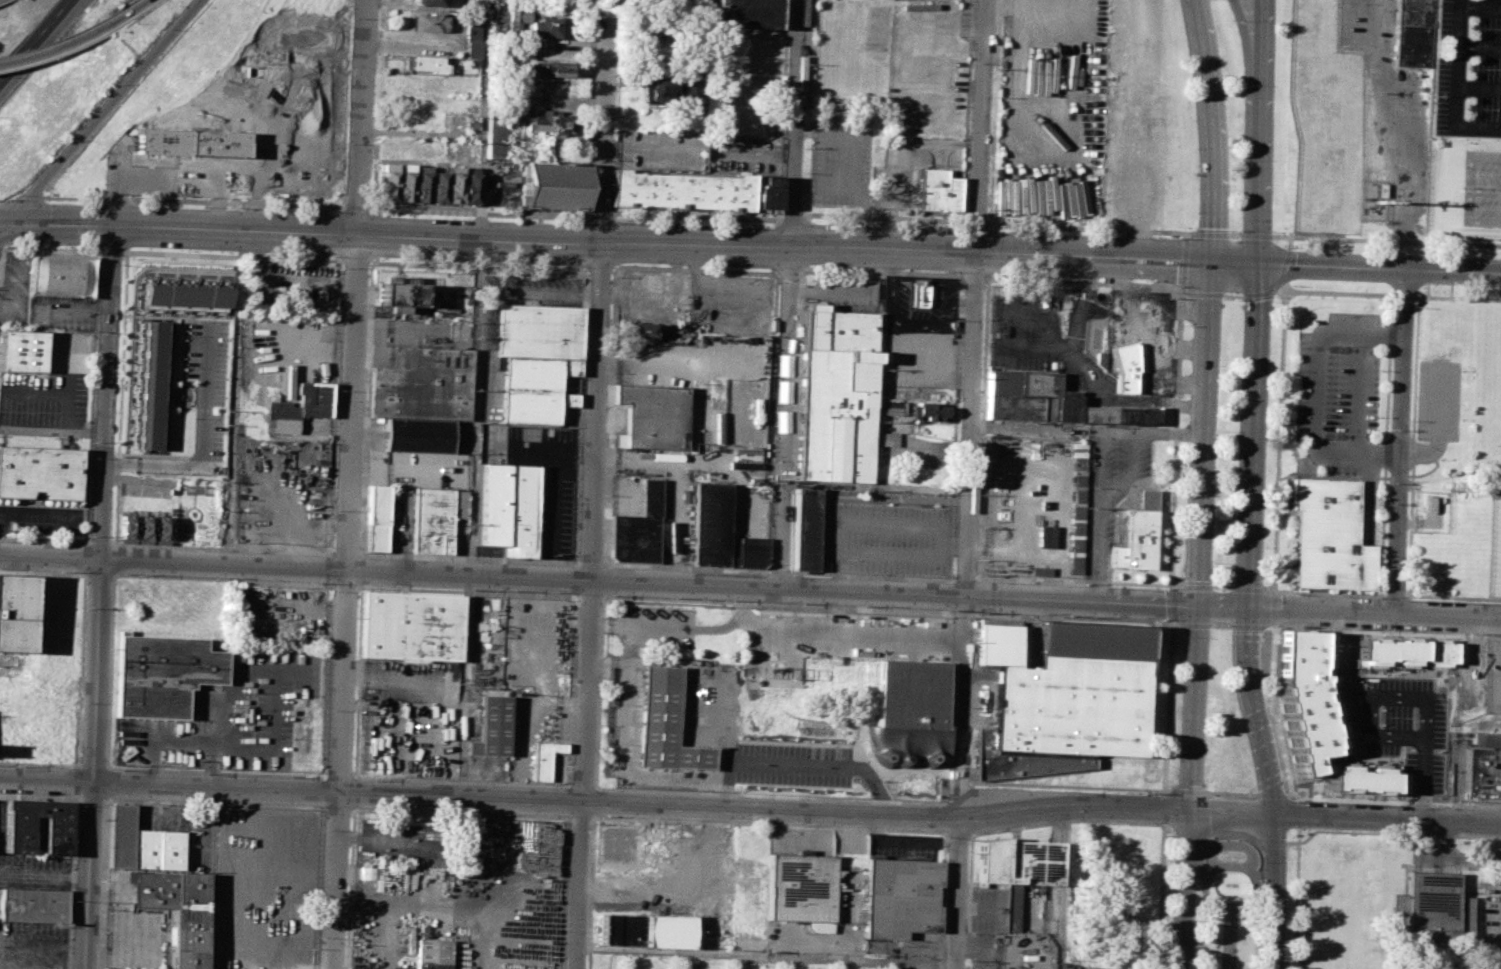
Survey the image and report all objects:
building: (430, 2)
building: (748, 13)
road: (124, 14)
building: (514, 20)
building: (431, 23)
road: (1458, 23)
building: (476, 28)
building: (550, 28)
building: (1412, 32)
road: (1246, 39)
road: (1256, 39)
road: (34, 40)
road: (1479, 48)
road: (51, 49)
building: (475, 50)
building: (428, 64)
building: (547, 68)
parking lot: (1468, 68)
building: (662, 91)
road: (1455, 108)
road: (782, 109)
park: (1232, 109)
road: (967, 110)
road: (994, 110)
road: (100, 111)
road: (349, 111)
road: (361, 117)
building: (476, 122)
building: (549, 123)
road: (796, 126)
road: (612, 127)
road: (1209, 130)
road: (1401, 133)
road: (591, 136)
building: (497, 139)
building: (162, 142)
parking lot: (696, 151)
road: (700, 151)
road: (853, 159)
parking lot: (841, 160)
parking lot: (170, 167)
road: (168, 175)
building: (388, 182)
building: (405, 182)
building: (422, 183)
building: (439, 184)
building: (455, 184)
building: (471, 184)
building: (553, 185)
park: (1481, 188)
building: (937, 190)
building: (681, 191)
building: (766, 194)
road: (18, 200)
road: (3, 201)
road: (649, 214)
road: (57, 226)
road: (1184, 236)
road: (1289, 240)
road: (1379, 240)
road: (452, 241)
road: (1, 247)
road: (108, 251)
road: (231, 257)
road: (1025, 258)
road: (356, 262)
road: (1181, 263)
road: (478, 265)
road: (600, 268)
road: (696, 269)
road: (789, 270)
road: (1379, 270)
road: (879, 271)
building: (59, 275)
road: (975, 276)
road: (1085, 282)
road: (1277, 284)
road: (1181, 293)
road: (1337, 293)
building: (182, 294)
road: (1202, 294)
building: (920, 295)
road: (1233, 295)
road: (1406, 295)
building: (402, 297)
road: (1458, 298)
building: (1105, 328)
building: (641, 330)
road: (1076, 331)
building: (542, 332)
building: (1156, 335)
gas station: (1156, 335)
building: (22, 350)
parking lot: (1050, 351)
road: (121, 354)
road: (340, 370)
building: (1123, 370)
building: (147, 385)
building: (425, 385)
building: (536, 390)
road: (1320, 390)
road: (1360, 392)
road: (107, 393)
road: (94, 394)
building: (839, 396)
road: (476, 399)
road: (1439, 399)
building: (1052, 402)
parking lot: (43, 406)
building: (303, 408)
building: (892, 408)
road: (368, 409)
building: (931, 412)
road: (582, 416)
road: (611, 416)
building: (657, 416)
road: (785, 419)
road: (955, 428)
road: (983, 429)
road: (1087, 430)
building: (421, 436)
road: (1174, 438)
road: (1278, 438)
building: (889, 439)
park: (1227, 441)
road: (1385, 441)
road: (1401, 442)
road: (205, 443)
road: (541, 446)
road: (1422, 451)
building: (667, 457)
road: (117, 469)
building: (41, 473)
road: (1130, 474)
parking lot: (542, 480)
road: (133, 482)
road: (968, 484)
road: (1450, 487)
parking lot: (280, 491)
parking lot: (1110, 491)
road: (554, 499)
road: (594, 503)
building: (506, 508)
road: (51, 515)
road: (1097, 516)
building: (378, 519)
parking lot: (41, 521)
building: (434, 522)
building: (929, 525)
road: (1250, 525)
building: (128, 529)
building: (145, 530)
building: (162, 530)
building: (639, 530)
building: (807, 530)
building: (722, 533)
building: (1138, 534)
building: (1332, 537)
road: (101, 543)
road: (195, 548)
road: (350, 554)
road: (50, 557)
road: (87, 558)
road: (113, 559)
road: (470, 560)
road: (590, 564)
road: (606, 565)
road: (576, 566)
road: (362, 568)
road: (685, 568)
road: (777, 572)
road: (99, 575)
road: (870, 576)
road: (224, 579)
road: (605, 579)
road: (963, 579)
road: (576, 580)
road: (1075, 581)
road: (649, 582)
road: (1193, 585)
road: (347, 586)
road: (1221, 586)
road: (1250, 588)
road: (467, 592)
road: (1326, 592)
road: (589, 595)
road: (949, 595)
road: (1393, 595)
road: (1451, 596)
road: (975, 597)
road: (347, 602)
road: (777, 603)
road: (1171, 603)
road: (1222, 606)
road: (1272, 608)
road: (963, 611)
road: (1374, 612)
building: (17, 613)
road: (1198, 615)
road: (1078, 617)
road: (1194, 625)
road: (1219, 626)
road: (1247, 627)
building: (413, 628)
road: (1382, 631)
building: (1401, 655)
road: (82, 666)
parking lot: (877, 666)
road: (96, 671)
building: (162, 675)
road: (357, 680)
road: (572, 689)
road: (599, 690)
road: (1402, 696)
road: (972, 698)
building: (1500, 698)
building: (1063, 699)
building: (1303, 699)
road: (946, 705)
road: (1167, 706)
road: (1271, 711)
building: (910, 713)
parking lot: (410, 715)
parking lot: (227, 718)
building: (665, 726)
building: (494, 727)
park: (1225, 727)
road: (803, 732)
road: (182, 737)
building: (1486, 740)
building: (546, 759)
road: (117, 769)
road: (336, 777)
building: (1360, 779)
road: (46, 781)
road: (461, 782)
road: (580, 786)
road: (1071, 786)
road: (1189, 791)
road: (353, 793)
road: (956, 793)
road: (1230, 794)
road: (768, 795)
road: (1272, 795)
road: (89, 801)
road: (1394, 801)
road: (211, 803)
road: (1165, 807)
road: (336, 808)
road: (796, 812)
road: (1293, 812)
road: (458, 813)
road: (578, 818)
road: (1073, 821)
road: (1165, 823)
road: (768, 824)
road: (1333, 830)
road: (957, 832)
road: (972, 833)
road: (1231, 834)
road: (1298, 834)
building: (18, 836)
building: (119, 836)
road: (1170, 836)
road: (1190, 838)
road: (392, 839)
parking lot: (404, 839)
road: (1272, 840)
road: (1292, 842)
building: (632, 845)
road: (74, 846)
building: (156, 849)
road: (1261, 855)
building: (258, 860)
building: (1019, 861)
road: (1450, 862)
parking lot: (31, 867)
road: (1214, 868)
building: (366, 873)
road: (88, 876)
parking lot: (118, 884)
fountain: (1229, 885)
road: (102, 886)
road: (317, 888)
road: (1064, 888)
road: (348, 889)
parking lot: (263, 891)
building: (802, 891)
road: (563, 893)
road: (590, 893)
road: (109, 894)
building: (900, 897)
building: (751, 900)
road: (941, 900)
park: (1228, 902)
parking lot: (466, 904)
building: (32, 905)
road: (1229, 906)
building: (1427, 910)
building: (175, 911)
parking lot: (1491, 918)
building: (647, 931)
building: (166, 936)
road: (1227, 937)
road: (118, 938)
parking lot: (132, 939)
parking lot: (33, 947)
building: (432, 953)
road: (296, 965)

